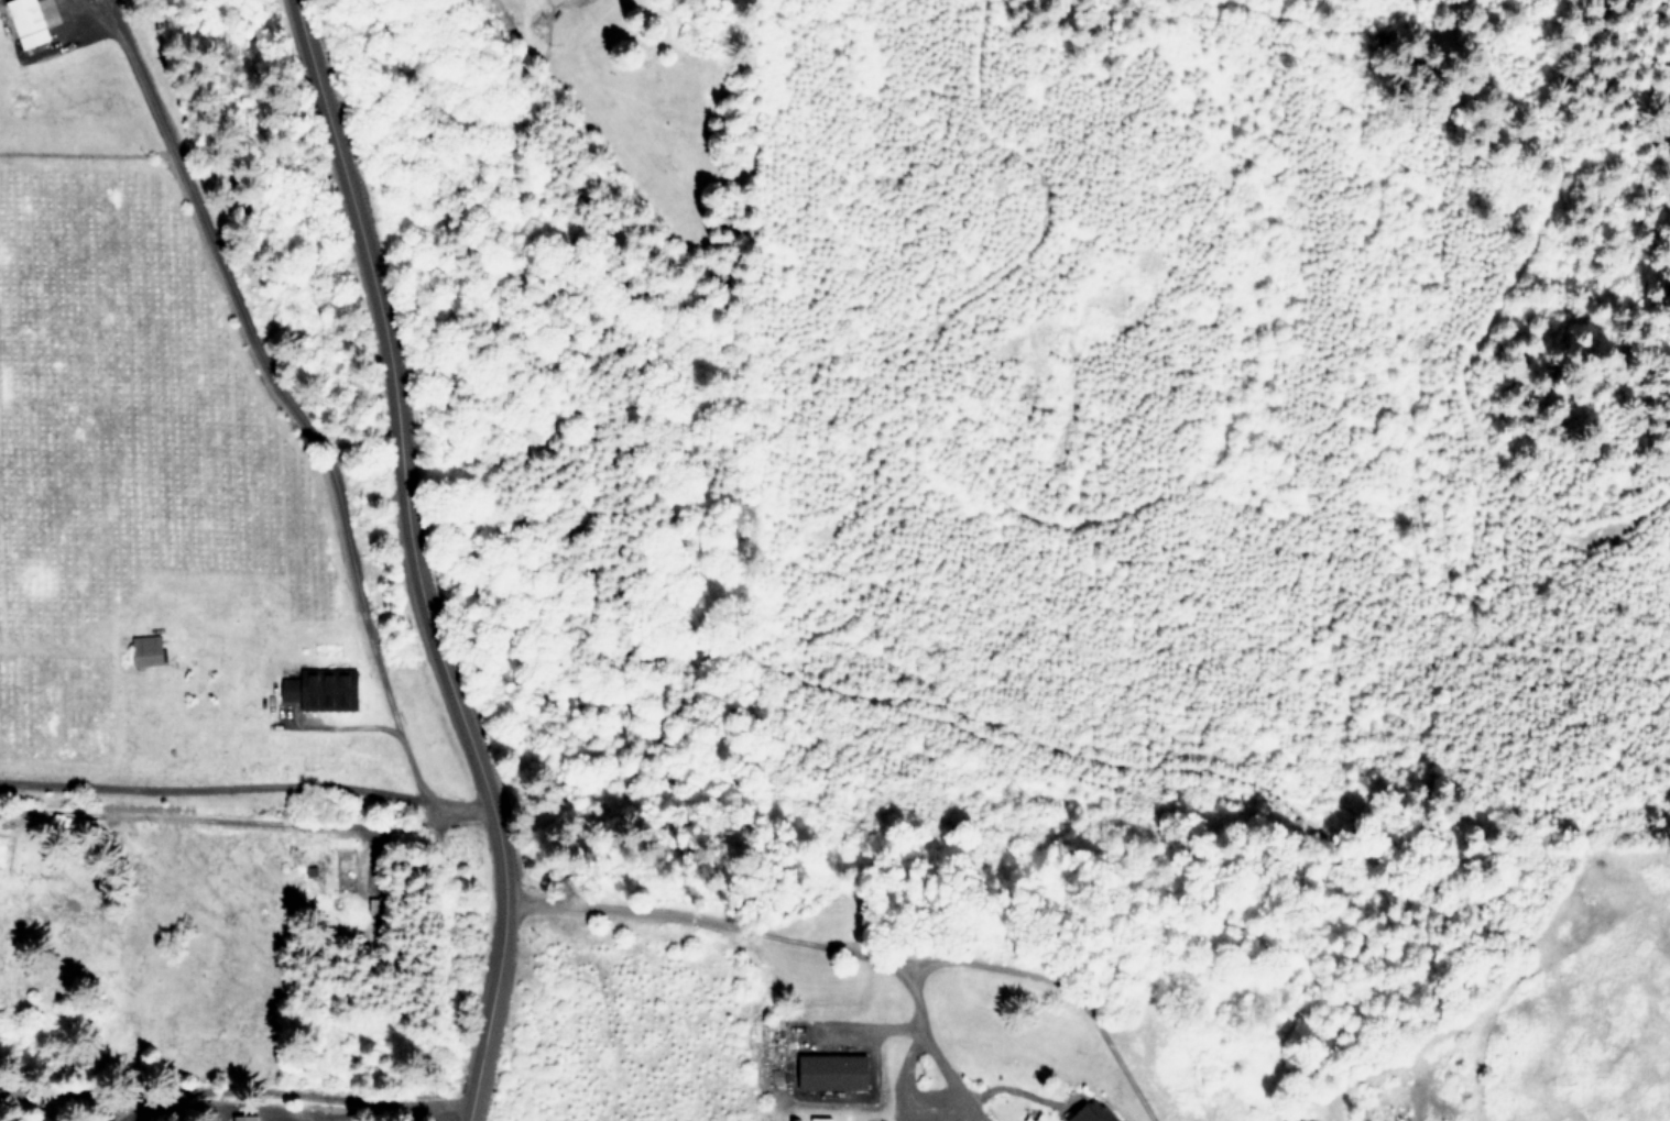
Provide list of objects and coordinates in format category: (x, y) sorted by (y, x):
building: (554, 1)
building: (31, 22)
road: (304, 421)
road: (406, 559)
building: (149, 649)
building: (293, 689)
building: (331, 689)
road: (211, 789)
building: (378, 903)
road: (834, 950)
road: (1054, 990)
building: (837, 1071)
road: (1018, 1090)
road: (229, 1091)
road: (973, 1110)
building: (1095, 1113)
building: (245, 1118)

